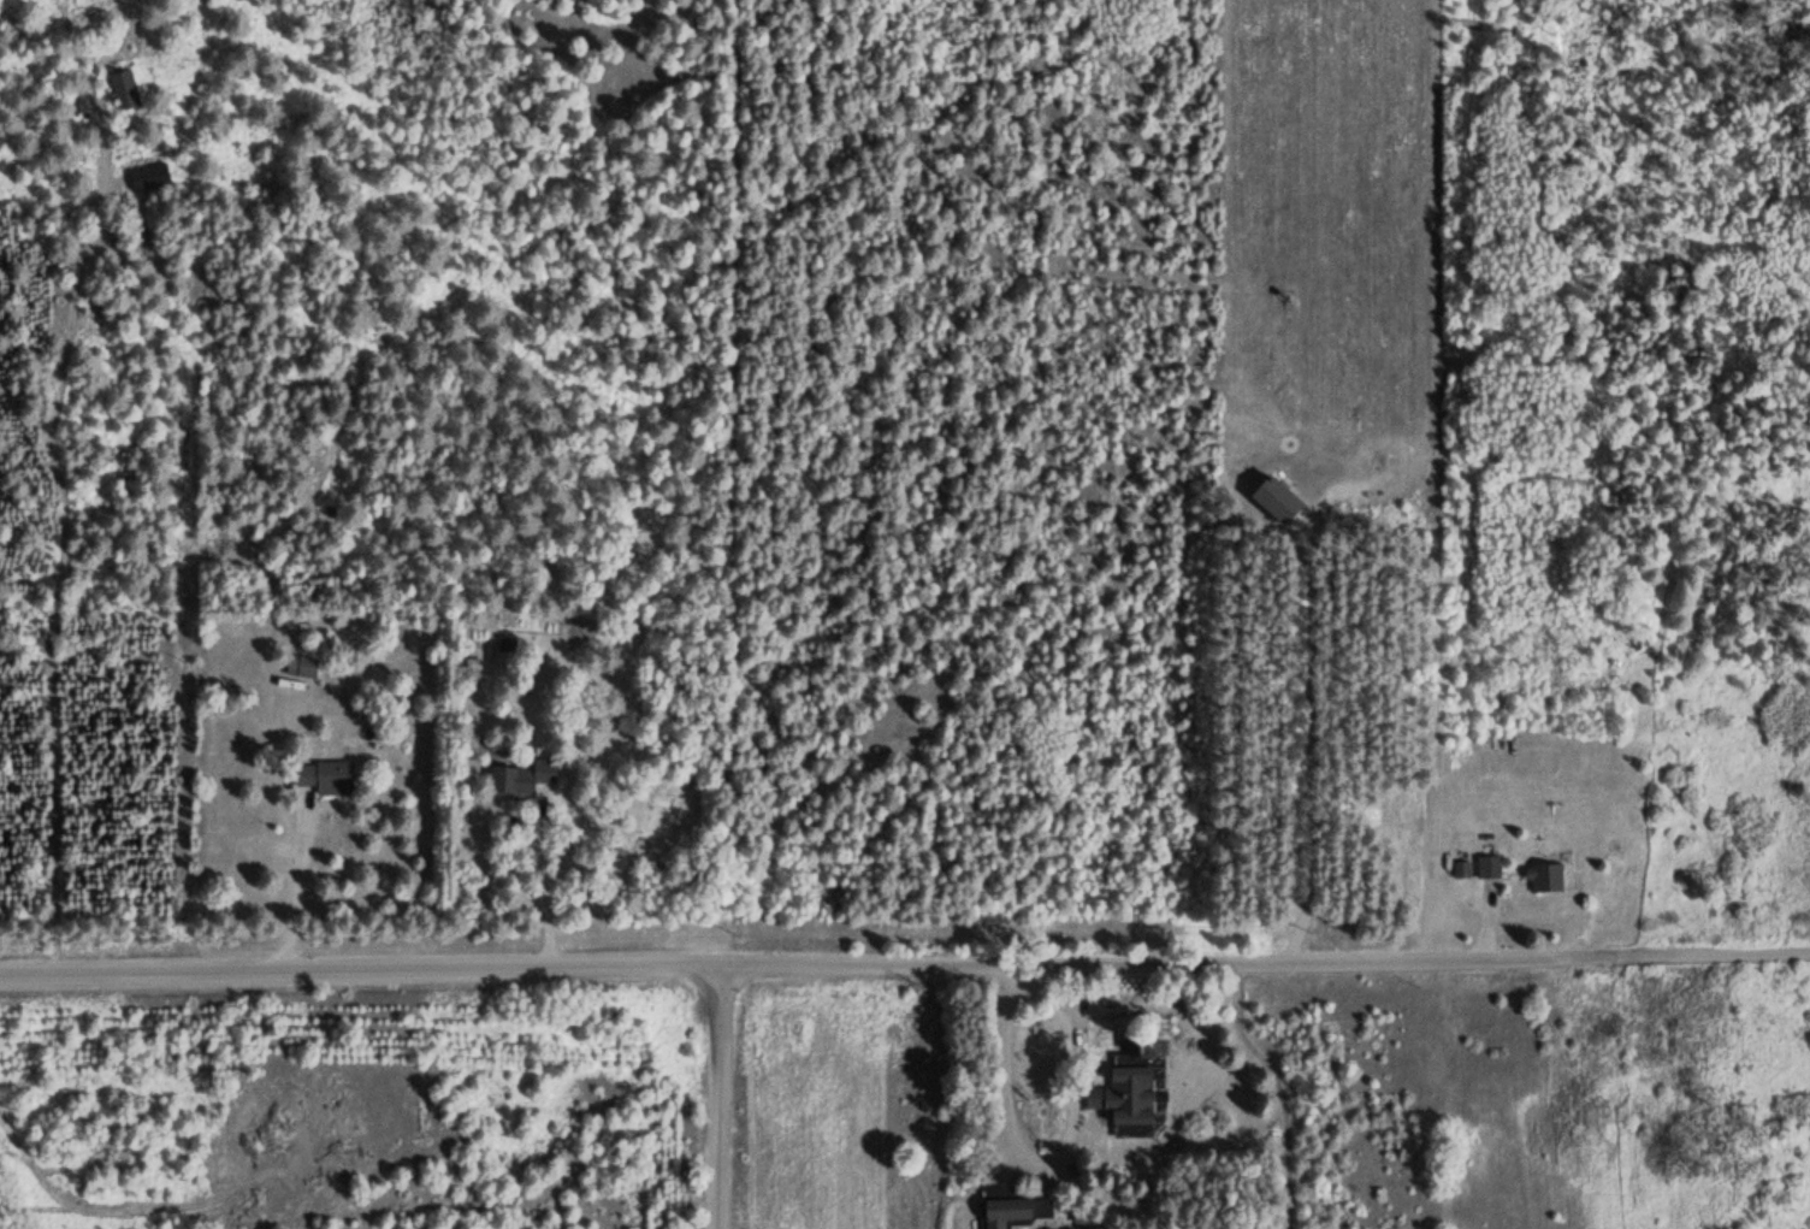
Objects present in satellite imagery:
building: (123, 90)
building: (147, 177)
building: (1640, 640)
building: (298, 664)
road: (58, 707)
building: (888, 750)
building: (324, 775)
building: (520, 775)
building: (1487, 864)
building: (1543, 875)
road: (904, 963)
building: (1222, 995)
building: (1123, 1094)
road: (717, 1097)
building: (1013, 1210)

